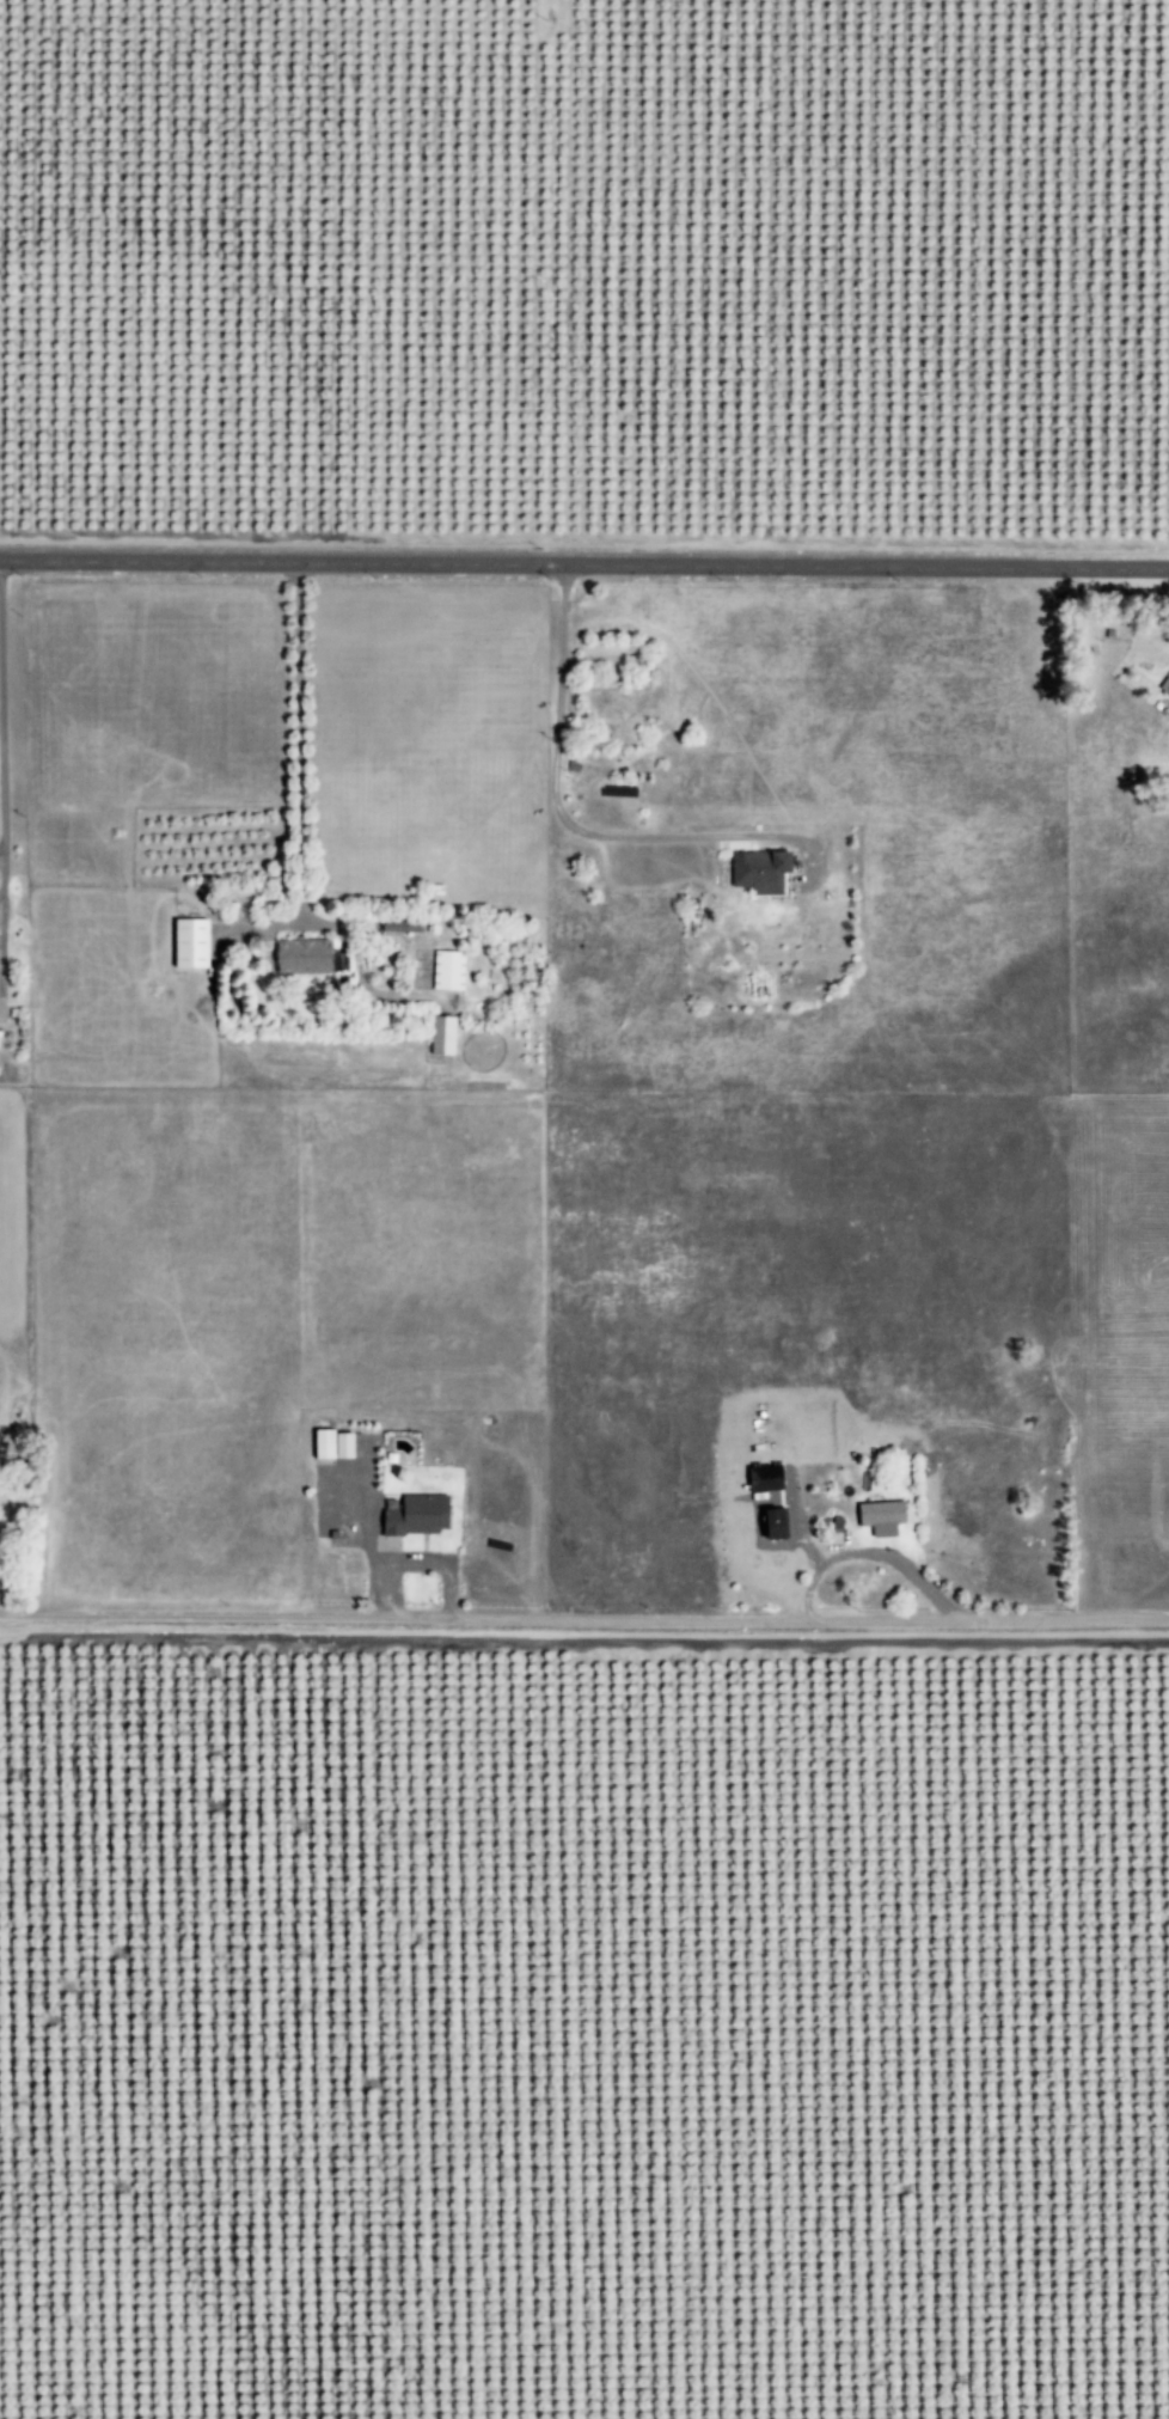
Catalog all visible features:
road: (583, 563)
building: (1163, 685)
road: (553, 786)
road: (1, 844)
building: (757, 871)
building: (398, 926)
building: (185, 942)
building: (299, 954)
building: (445, 969)
building: (439, 1034)
building: (329, 1443)
building: (760, 1477)
building: (877, 1513)
building: (412, 1514)
building: (770, 1523)
road: (584, 1614)

